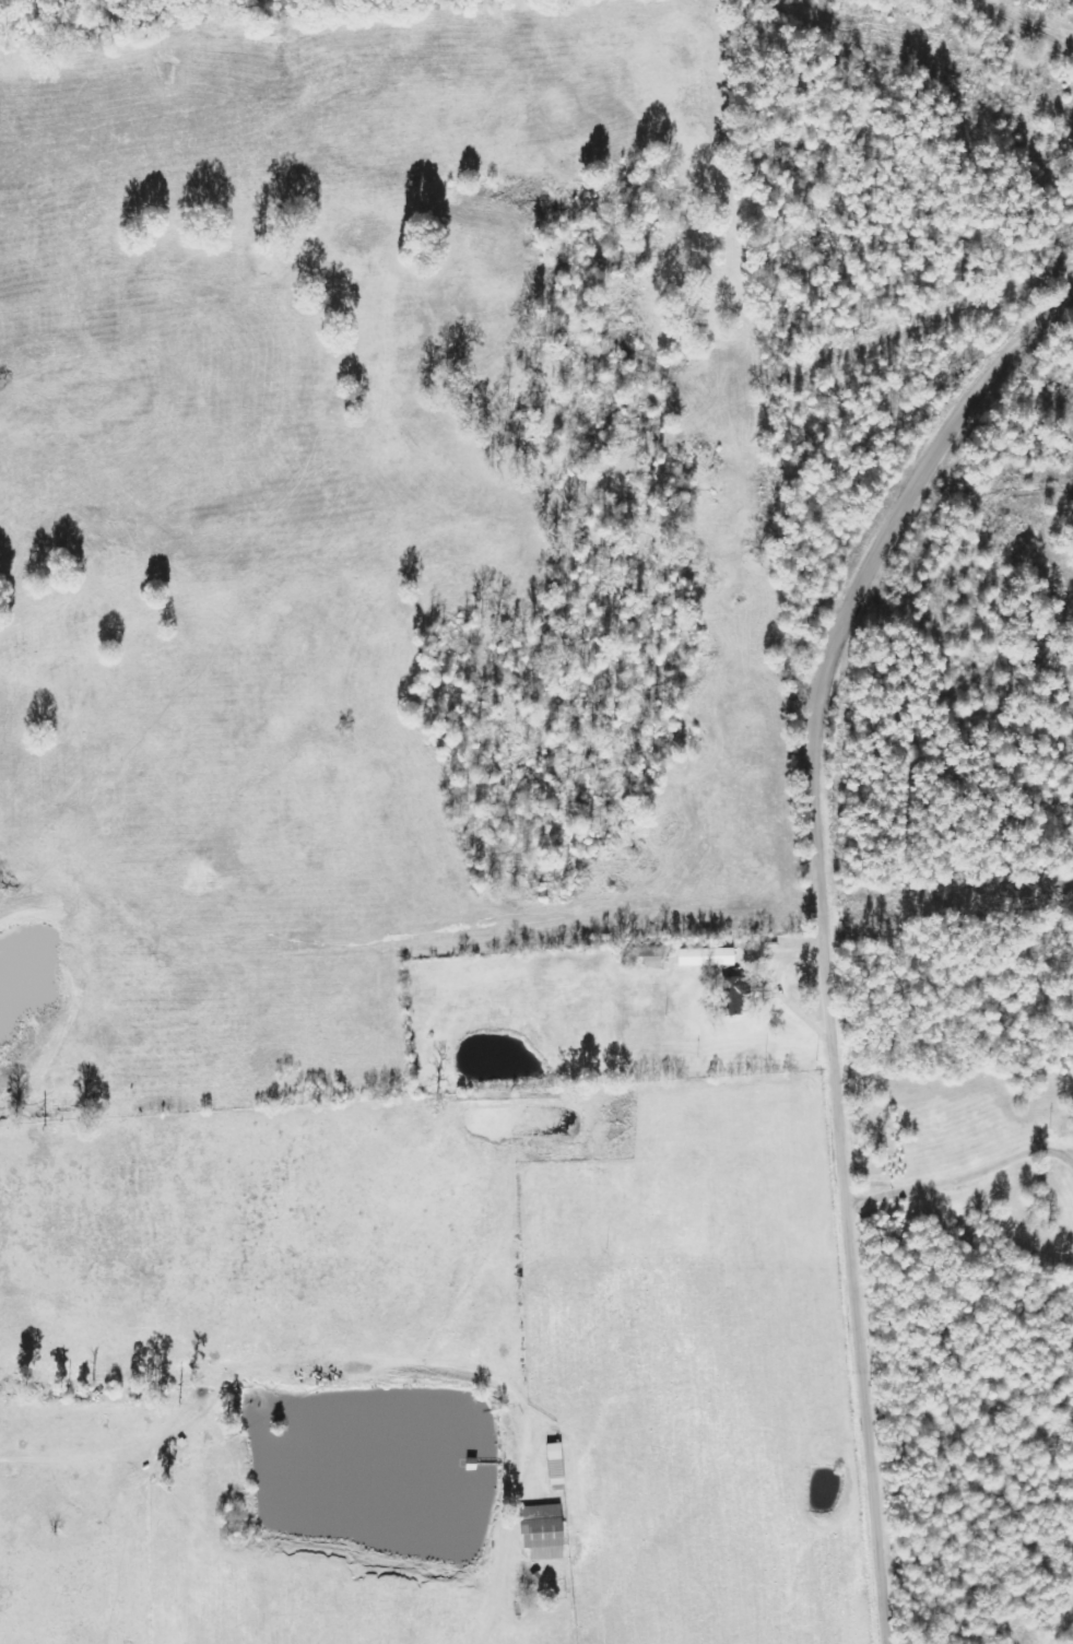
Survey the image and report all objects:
road: (823, 931)
building: (708, 959)
road: (780, 986)
building: (736, 995)
road: (963, 1175)
building: (544, 1533)
road: (1061, 1624)

